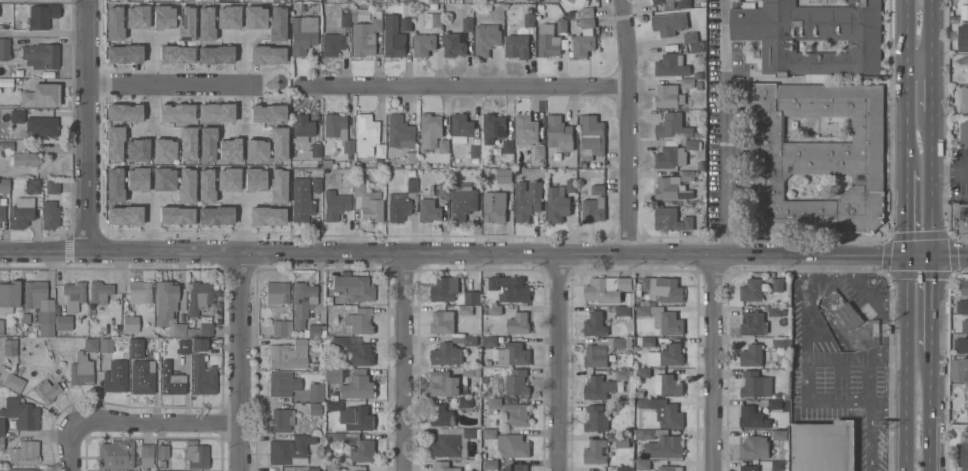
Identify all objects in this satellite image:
building: (376, 0)
building: (415, 1)
building: (538, 1)
building: (578, 2)
building: (666, 4)
building: (683, 4)
building: (964, 12)
building: (587, 13)
building: (362, 15)
building: (42, 16)
building: (136, 17)
building: (163, 17)
building: (227, 17)
building: (254, 17)
building: (344, 17)
building: (433, 20)
building: (114, 23)
building: (185, 23)
building: (205, 23)
building: (277, 23)
building: (588, 24)
building: (669, 24)
building: (406, 25)
building: (562, 27)
road: (46, 32)
building: (303, 33)
road: (930, 33)
building: (522, 35)
building: (812, 36)
building: (365, 37)
building: (393, 38)
building: (690, 38)
building: (487, 39)
building: (459, 40)
building: (548, 41)
building: (332, 44)
building: (424, 45)
building: (583, 45)
building: (965, 46)
building: (4, 49)
building: (176, 54)
building: (215, 54)
building: (124, 55)
building: (267, 55)
building: (41, 56)
building: (964, 61)
building: (672, 65)
road: (919, 67)
building: (698, 76)
building: (687, 83)
road: (906, 84)
road: (174, 85)
road: (463, 87)
road: (931, 89)
building: (41, 95)
building: (669, 96)
building: (965, 100)
building: (175, 112)
building: (215, 112)
building: (125, 113)
building: (267, 113)
building: (18, 116)
road: (91, 125)
building: (302, 125)
building: (430, 125)
building: (37, 126)
building: (494, 126)
building: (673, 127)
building: (461, 128)
road: (628, 128)
road: (724, 128)
building: (526, 130)
building: (338, 131)
building: (964, 131)
building: (400, 133)
building: (366, 134)
building: (560, 134)
building: (699, 135)
building: (592, 137)
building: (114, 143)
building: (187, 144)
building: (206, 144)
building: (278, 144)
building: (692, 145)
building: (6, 146)
building: (443, 146)
building: (508, 147)
building: (137, 150)
building: (163, 150)
building: (229, 150)
building: (256, 151)
building: (316, 151)
building: (476, 151)
building: (380, 152)
building: (539, 153)
building: (671, 156)
building: (555, 157)
building: (25, 158)
building: (817, 158)
building: (582, 165)
road: (949, 172)
building: (504, 176)
building: (688, 176)
building: (136, 179)
building: (163, 179)
building: (228, 179)
building: (254, 180)
building: (114, 185)
building: (186, 185)
building: (316, 185)
building: (412, 185)
road: (931, 185)
building: (32, 186)
building: (52, 186)
building: (205, 186)
building: (278, 186)
building: (571, 186)
building: (4, 187)
building: (443, 187)
building: (671, 189)
building: (598, 190)
building: (301, 200)
building: (527, 200)
building: (336, 203)
building: (368, 203)
building: (463, 203)
building: (557, 206)
building: (495, 207)
building: (398, 210)
building: (594, 210)
building: (429, 211)
building: (22, 212)
building: (2, 214)
road: (906, 214)
building: (50, 215)
building: (124, 215)
building: (175, 215)
building: (215, 216)
building: (267, 216)
building: (958, 219)
building: (671, 220)
road: (483, 255)
traffic signals: (906, 259)
traffic signals: (931, 259)
building: (778, 285)
building: (638, 286)
building: (352, 287)
building: (965, 288)
building: (510, 289)
building: (663, 289)
building: (610, 290)
building: (751, 290)
building: (441, 291)
building: (100, 292)
building: (140, 292)
building: (276, 294)
building: (9, 295)
building: (73, 295)
building: (199, 297)
building: (472, 298)
building: (328, 300)
building: (169, 302)
building: (303, 302)
building: (345, 302)
road: (930, 304)
building: (40, 305)
building: (91, 307)
building: (962, 307)
building: (102, 309)
building: (466, 310)
building: (495, 310)
building: (779, 311)
building: (623, 312)
building: (851, 314)
building: (322, 318)
building: (662, 319)
building: (359, 321)
building: (442, 322)
building: (64, 323)
building: (191, 323)
building: (518, 323)
building: (131, 324)
building: (752, 324)
building: (595, 325)
building: (204, 326)
building: (965, 327)
building: (1, 328)
building: (281, 328)
building: (177, 330)
building: (316, 331)
building: (470, 341)
building: (491, 342)
building: (648, 342)
building: (618, 343)
building: (782, 343)
building: (199, 344)
building: (90, 345)
building: (105, 345)
building: (960, 345)
building: (10, 347)
building: (184, 347)
building: (356, 350)
building: (289, 354)
building: (446, 354)
building: (513, 354)
building: (596, 356)
building: (667, 356)
building: (752, 356)
road: (243, 362)
road: (405, 362)
building: (488, 363)
road: (560, 364)
road: (715, 364)
road: (905, 364)
road: (805, 365)
building: (80, 370)
building: (955, 370)
building: (964, 370)
building: (471, 373)
building: (643, 374)
building: (334, 375)
building: (624, 375)
building: (115, 376)
building: (203, 377)
building: (172, 379)
building: (10, 380)
building: (142, 383)
building: (513, 383)
building: (282, 384)
building: (444, 384)
building: (668, 385)
building: (756, 385)
building: (357, 386)
building: (599, 388)
building: (47, 391)
building: (316, 392)
building: (485, 394)
building: (466, 404)
building: (775, 405)
building: (315, 409)
road: (928, 409)
building: (507, 410)
building: (663, 412)
building: (21, 413)
road: (887, 413)
building: (353, 416)
building: (441, 416)
building: (751, 418)
building: (596, 419)
building: (281, 420)
road: (158, 423)
building: (2, 427)
building: (472, 433)
building: (489, 435)
building: (779, 436)
building: (622, 441)
road: (870, 442)
building: (1, 443)
building: (661, 443)
building: (356, 446)
building: (447, 446)
building: (512, 446)
building: (823, 446)
road: (73, 447)
building: (754, 448)
building: (162, 451)
building: (288, 451)
building: (24, 453)
building: (595, 453)
building: (964, 454)
building: (115, 455)
building: (146, 455)
building: (196, 456)
building: (490, 465)
building: (443, 466)
building: (643, 466)
building: (778, 466)
building: (334, 468)
building: (516, 468)
building: (624, 468)
building: (667, 468)
building: (754, 468)
building: (313, 469)
building: (28, 470)

